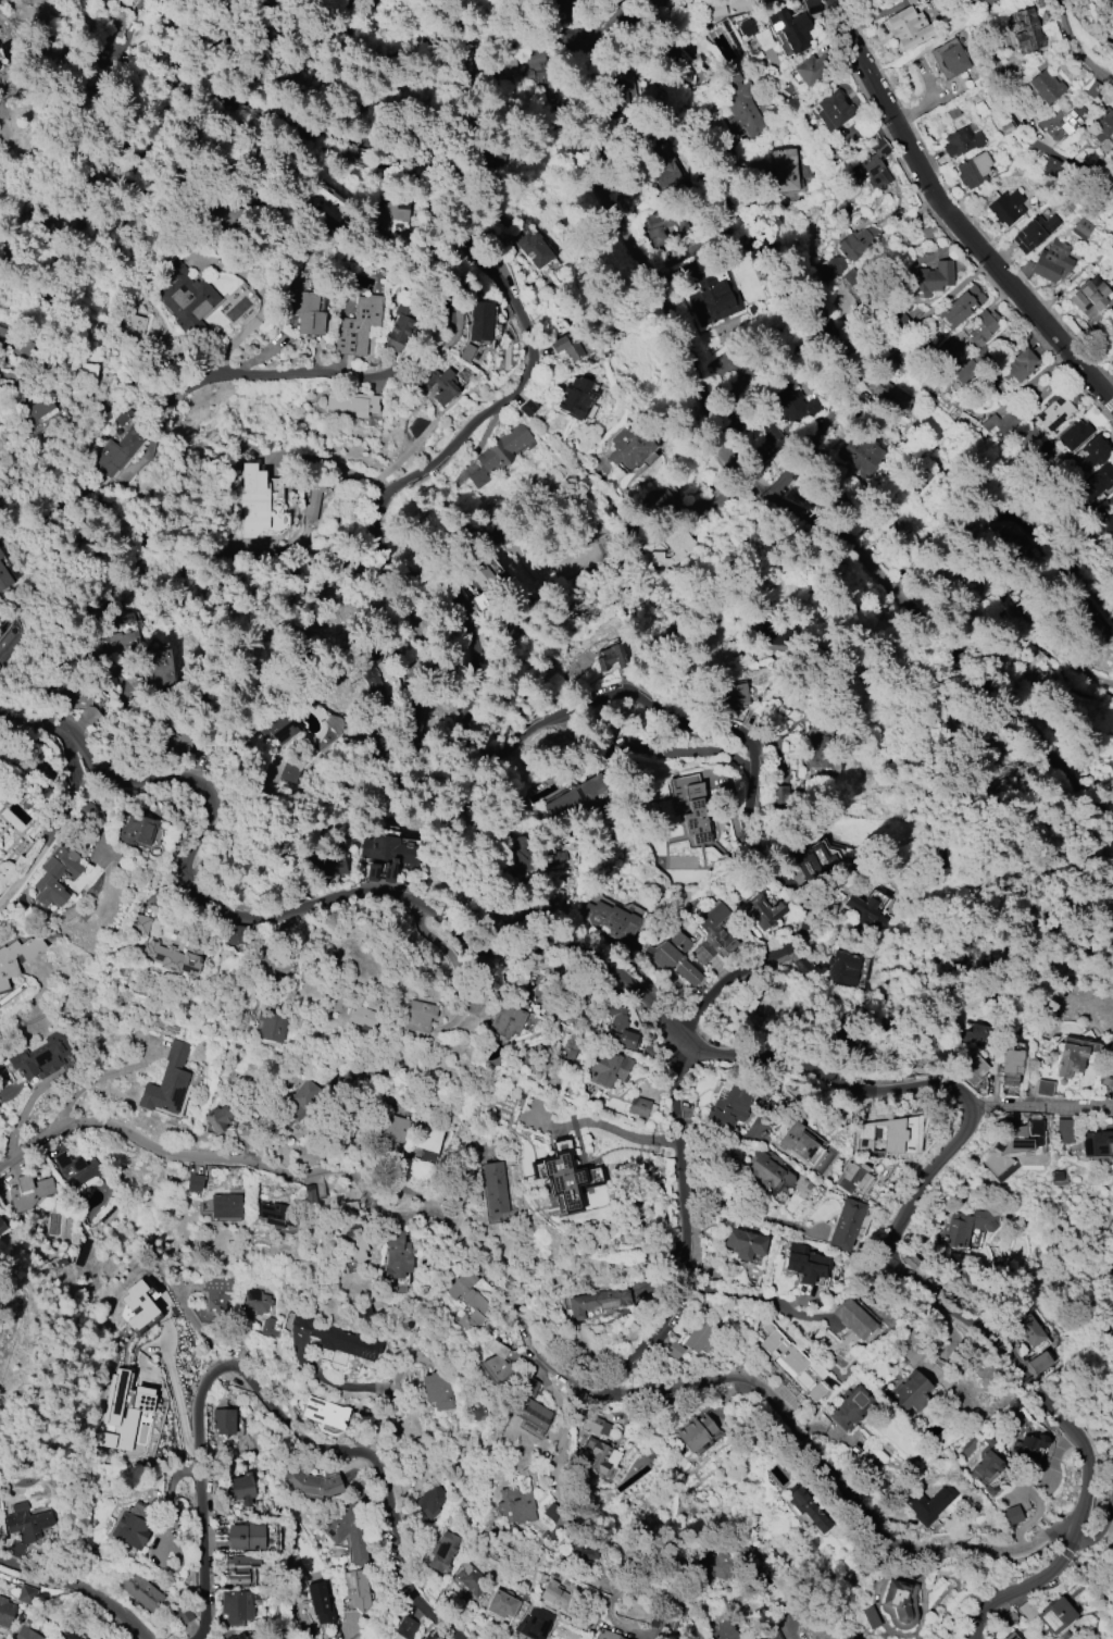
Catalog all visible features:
building: (906, 0)
building: (1112, 0)
building: (913, 1)
building: (990, 2)
building: (570, 7)
building: (811, 7)
building: (714, 10)
road: (608, 15)
building: (116, 22)
building: (747, 27)
building: (790, 28)
building: (906, 28)
building: (1026, 28)
road: (537, 38)
road: (1074, 47)
building: (1112, 48)
building: (949, 59)
building: (509, 69)
building: (811, 69)
building: (1046, 86)
building: (620, 94)
building: (741, 105)
building: (831, 111)
building: (1063, 119)
building: (1099, 125)
building: (1008, 127)
building: (962, 140)
building: (492, 157)
building: (873, 165)
building: (785, 170)
building: (974, 171)
road: (1087, 176)
building: (326, 203)
building: (1002, 206)
building: (388, 212)
road: (950, 218)
building: (1081, 228)
building: (1111, 228)
building: (662, 229)
building: (1035, 232)
building: (533, 248)
building: (851, 259)
building: (1048, 262)
road: (647, 272)
building: (930, 277)
road: (951, 291)
building: (183, 295)
building: (711, 297)
building: (1090, 297)
building: (960, 307)
building: (307, 312)
building: (132, 320)
building: (482, 322)
building: (984, 325)
building: (358, 326)
building: (400, 327)
building: (1112, 342)
road: (440, 345)
building: (568, 345)
building: (15, 346)
building: (947, 348)
road: (529, 352)
building: (1018, 365)
building: (964, 371)
building: (439, 384)
building: (888, 394)
building: (576, 397)
road: (1112, 400)
building: (791, 401)
building: (351, 405)
building: (526, 408)
building: (38, 411)
road: (157, 411)
building: (1053, 413)
building: (966, 422)
building: (1002, 422)
building: (1073, 434)
building: (631, 445)
building: (1092, 451)
building: (115, 452)
building: (498, 454)
building: (860, 455)
road: (796, 463)
road: (336, 467)
building: (1096, 482)
building: (315, 495)
building: (253, 500)
building: (662, 500)
building: (1110, 505)
road: (711, 514)
building: (1098, 524)
building: (677, 542)
building: (1016, 542)
building: (1, 556)
building: (4, 579)
building: (487, 585)
building: (476, 587)
building: (117, 640)
road: (953, 640)
building: (614, 658)
building: (158, 669)
building: (370, 676)
building: (1043, 679)
building: (730, 696)
building: (76, 698)
building: (414, 718)
building: (275, 725)
building: (817, 746)
building: (289, 771)
building: (45, 777)
building: (577, 803)
building: (689, 806)
building: (86, 812)
road: (1111, 814)
road: (1111, 818)
road: (61, 823)
building: (136, 829)
building: (518, 852)
building: (385, 856)
building: (553, 858)
building: (329, 866)
building: (808, 867)
building: (55, 876)
road: (434, 902)
building: (762, 911)
building: (611, 918)
building: (863, 918)
building: (138, 923)
building: (713, 934)
building: (235, 935)
road: (784, 949)
building: (173, 956)
building: (675, 958)
building: (802, 967)
building: (842, 967)
building: (8, 968)
building: (745, 1008)
building: (417, 1015)
building: (362, 1016)
building: (505, 1020)
building: (271, 1021)
building: (618, 1028)
building: (841, 1040)
building: (1071, 1056)
building: (46, 1057)
building: (1009, 1066)
building: (609, 1068)
building: (970, 1068)
building: (1108, 1080)
road: (89, 1082)
building: (166, 1082)
building: (1046, 1089)
building: (298, 1102)
road: (1029, 1103)
building: (637, 1106)
building: (729, 1106)
building: (224, 1118)
road: (601, 1123)
building: (391, 1128)
building: (1065, 1130)
building: (880, 1137)
building: (426, 1138)
building: (1097, 1143)
building: (799, 1145)
building: (1014, 1151)
building: (76, 1168)
building: (765, 1169)
building: (850, 1177)
building: (563, 1179)
building: (192, 1182)
building: (493, 1188)
building: (28, 1192)
building: (309, 1193)
building: (225, 1205)
building: (274, 1215)
road: (755, 1216)
building: (1, 1224)
building: (846, 1225)
building: (959, 1230)
building: (355, 1243)
building: (743, 1243)
building: (397, 1254)
building: (803, 1262)
road: (1104, 1268)
building: (216, 1293)
road: (753, 1296)
building: (466, 1299)
building: (254, 1301)
building: (596, 1302)
building: (139, 1307)
road: (955, 1309)
building: (853, 1318)
building: (270, 1326)
building: (1030, 1329)
building: (697, 1336)
building: (336, 1337)
building: (674, 1350)
building: (781, 1350)
road: (536, 1353)
building: (1039, 1362)
building: (496, 1365)
road: (171, 1379)
building: (527, 1386)
building: (438, 1390)
building: (912, 1393)
road: (389, 1396)
road: (267, 1400)
building: (848, 1407)
building: (529, 1411)
building: (122, 1412)
building: (325, 1412)
building: (223, 1418)
building: (596, 1425)
road: (566, 1426)
building: (695, 1432)
building: (1027, 1446)
building: (598, 1455)
building: (984, 1465)
building: (314, 1482)
building: (241, 1489)
building: (432, 1501)
building: (926, 1504)
building: (515, 1505)
building: (553, 1514)
building: (1011, 1514)
building: (26, 1522)
building: (133, 1527)
building: (483, 1527)
building: (348, 1529)
building: (246, 1536)
building: (580, 1551)
building: (443, 1552)
building: (714, 1565)
building: (239, 1569)
building: (539, 1575)
building: (472, 1580)
road: (1028, 1584)
road: (82, 1585)
building: (355, 1587)
building: (139, 1589)
building: (25, 1594)
building: (551, 1594)
building: (320, 1601)
building: (899, 1602)
building: (500, 1604)
building: (236, 1607)
building: (1026, 1609)
building: (5, 1613)
building: (183, 1614)
building: (1055, 1615)
building: (1006, 1619)
building: (536, 1623)
building: (26, 1630)
road: (355, 1631)
building: (721, 1631)
building: (76, 1634)
building: (260, 1634)
building: (606, 1635)
building: (773, 1635)
building: (428, 1636)
building: (1012, 1636)

